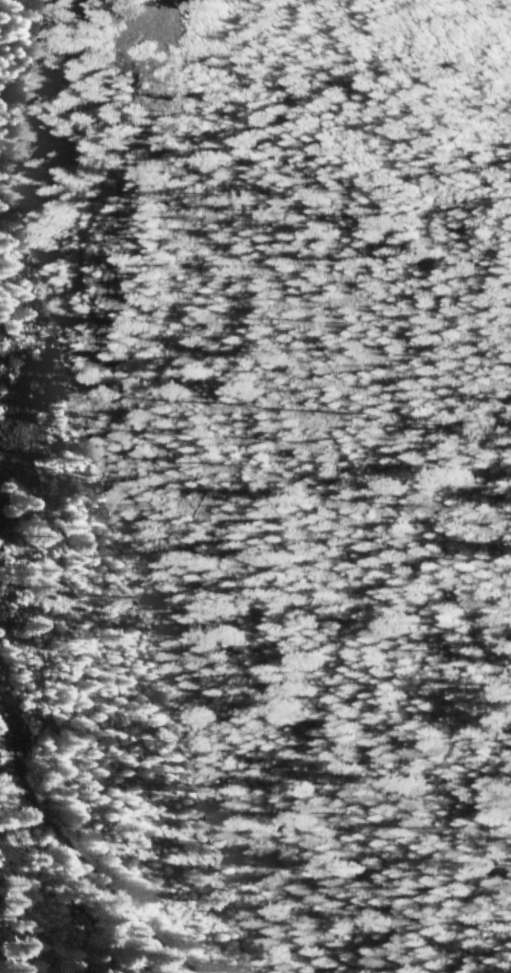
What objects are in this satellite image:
road: (75, 855)

